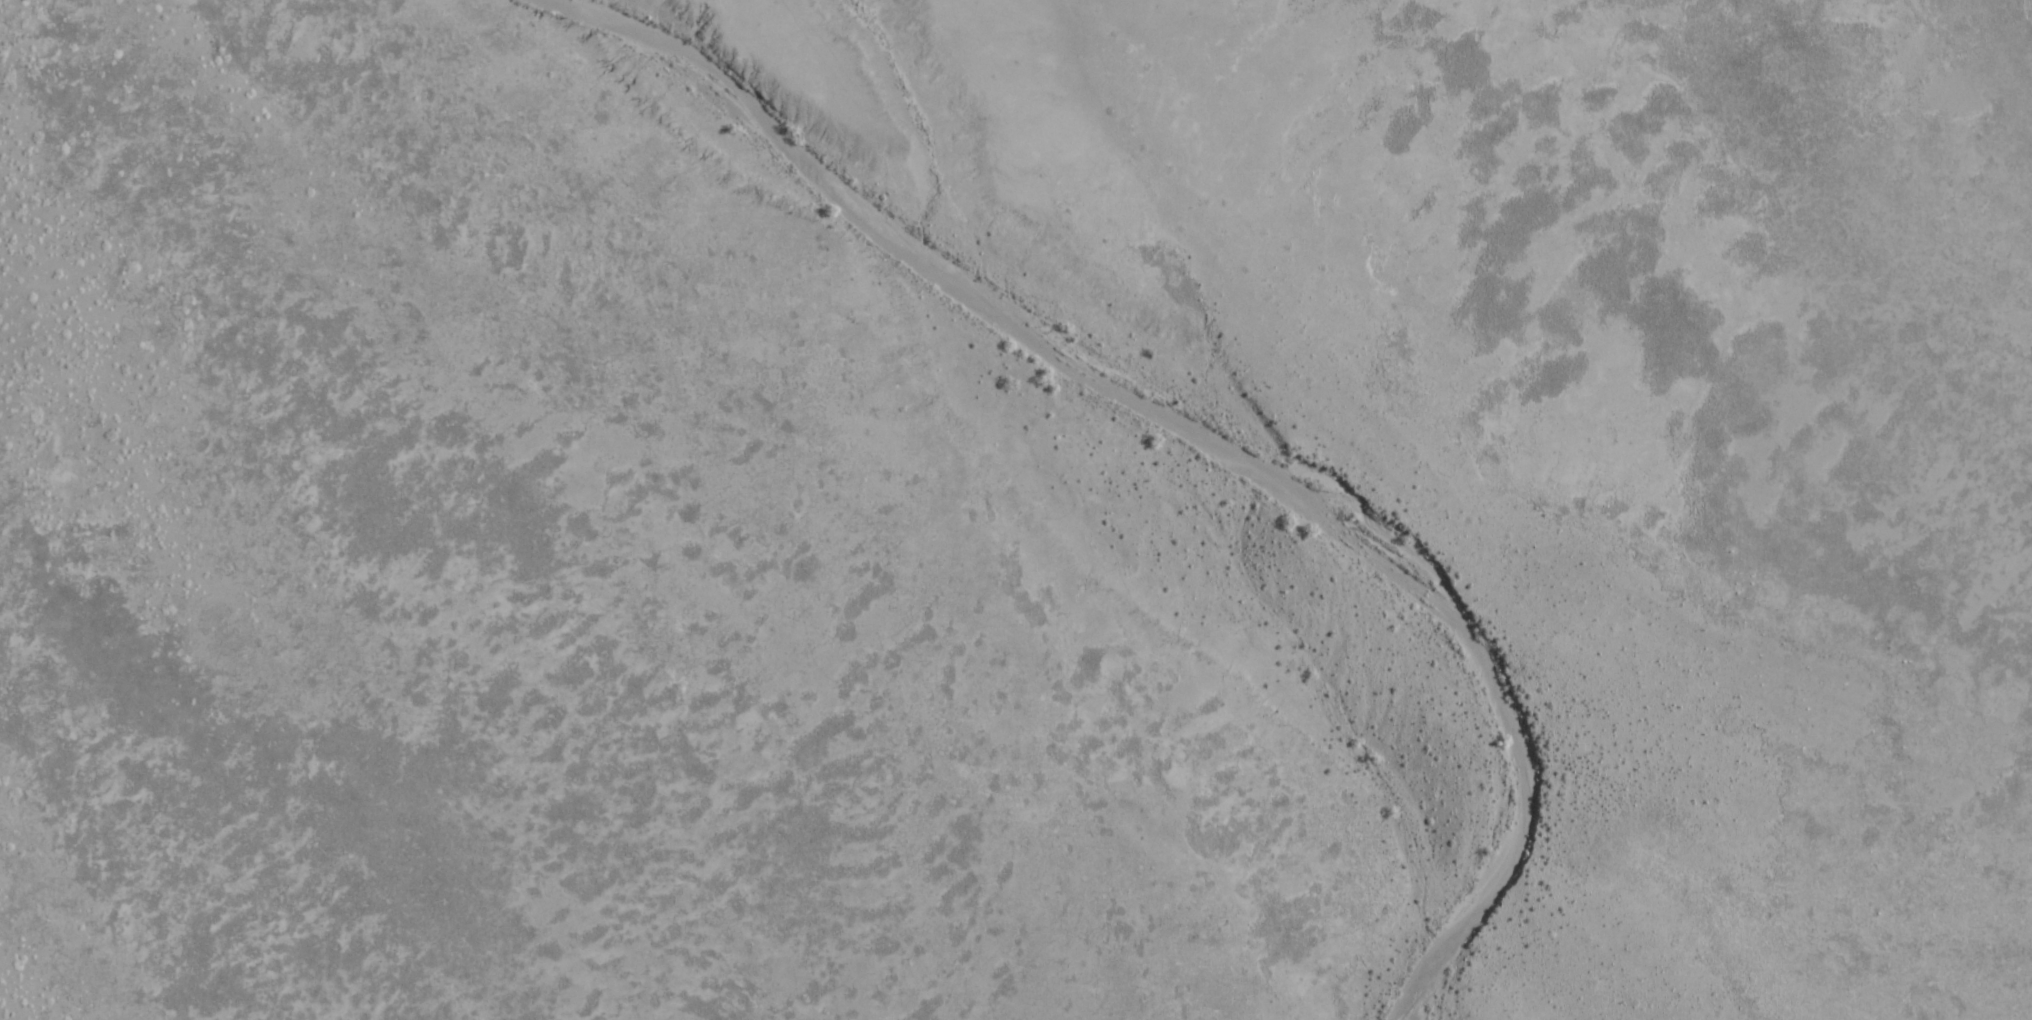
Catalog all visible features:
river: (1178, 404)

